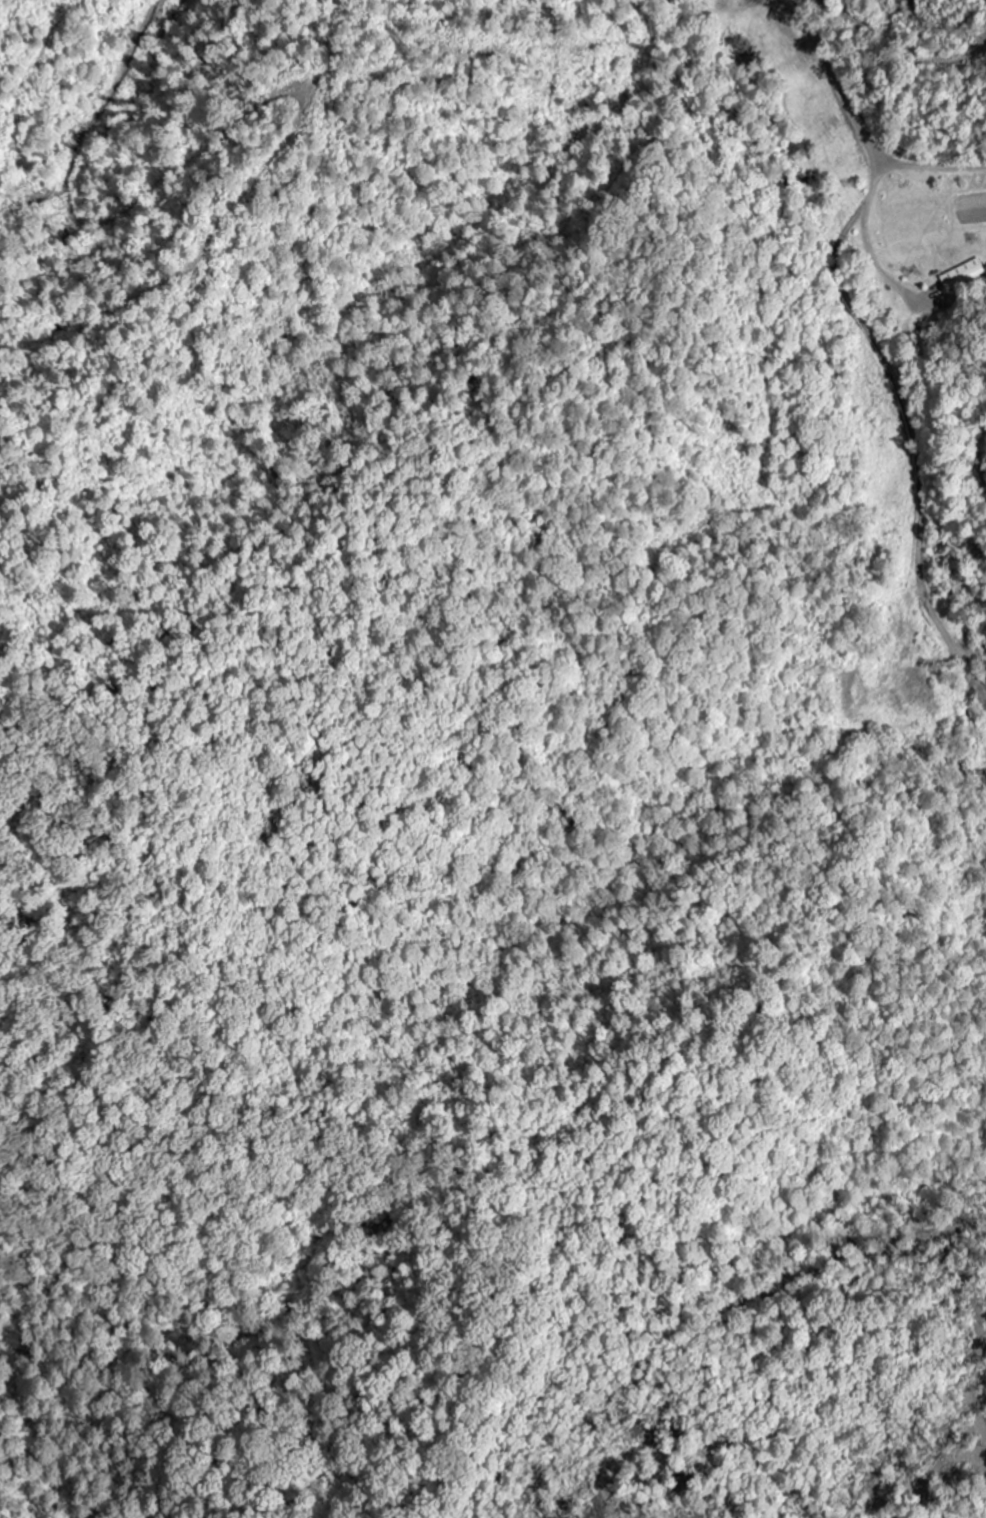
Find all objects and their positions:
road: (902, 243)
building: (964, 276)

